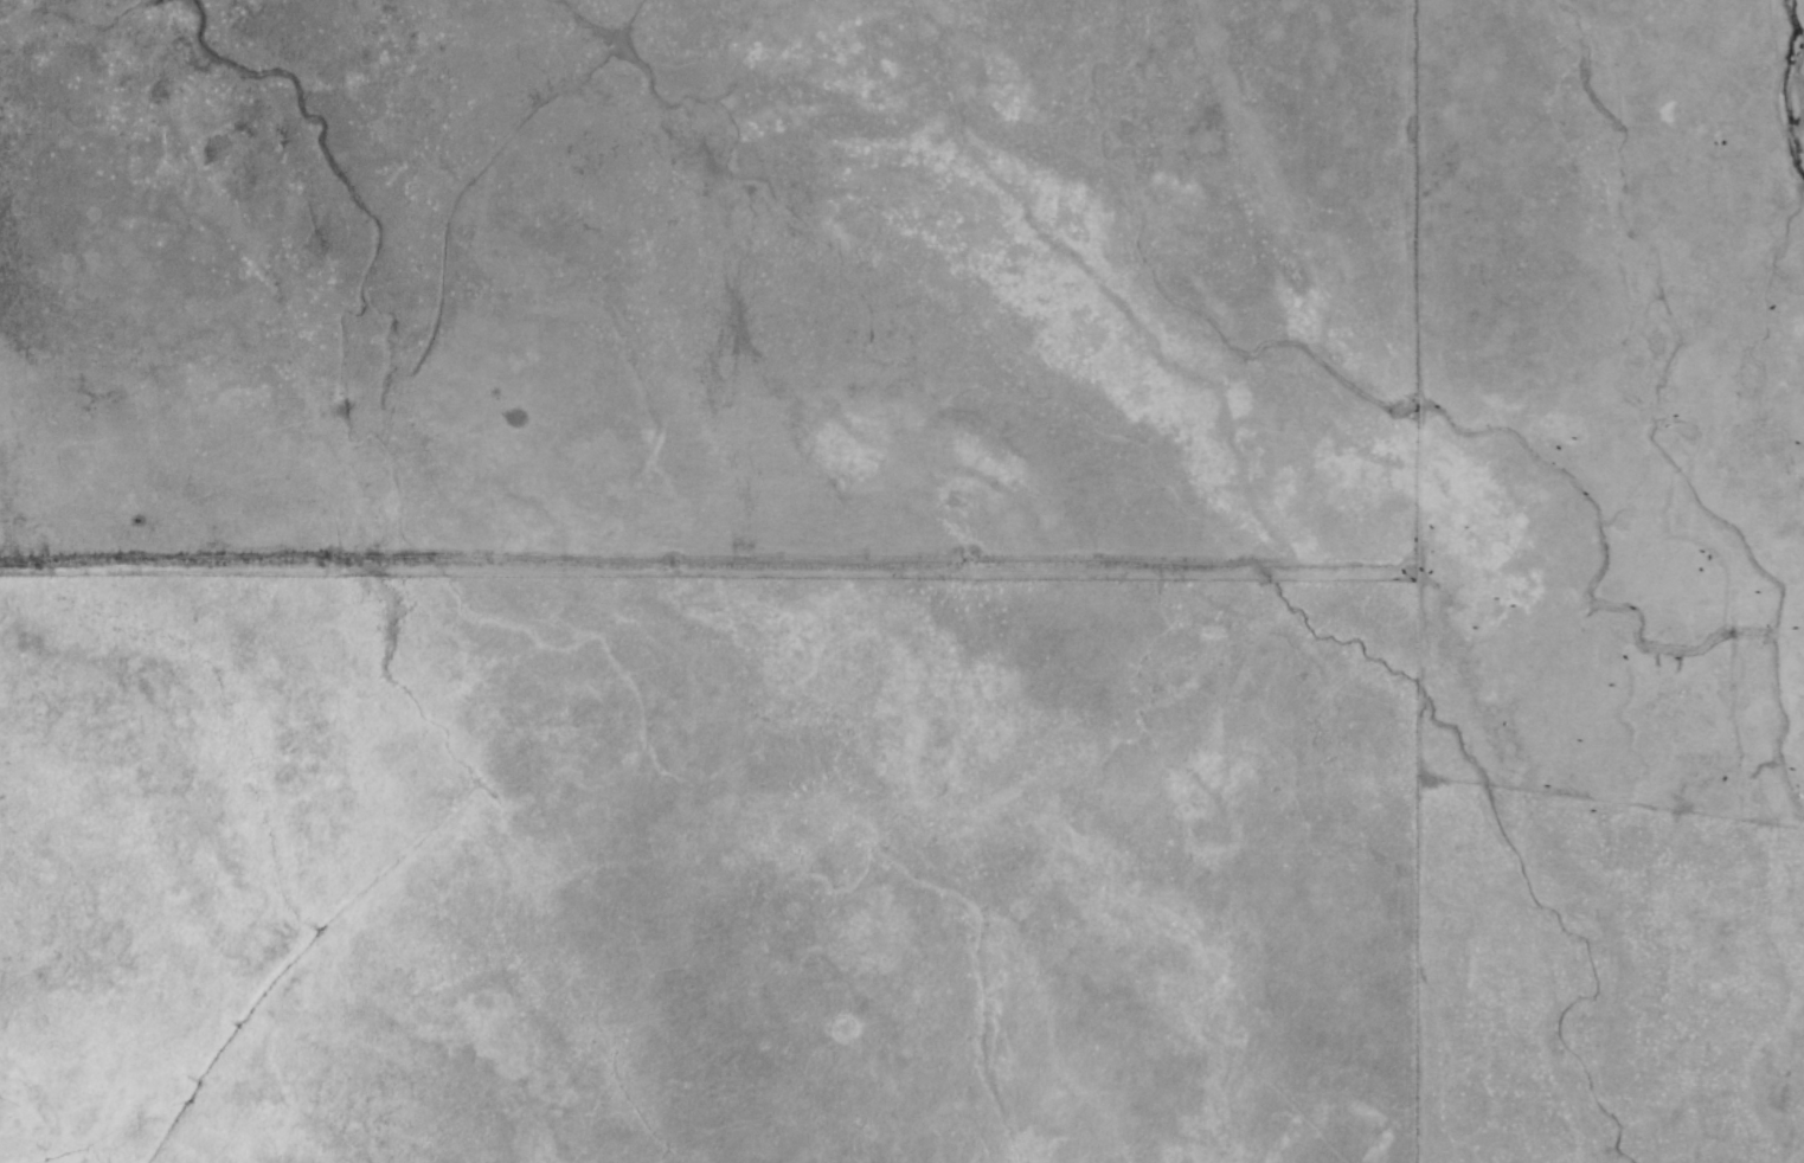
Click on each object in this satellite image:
crop: (901, 581)

